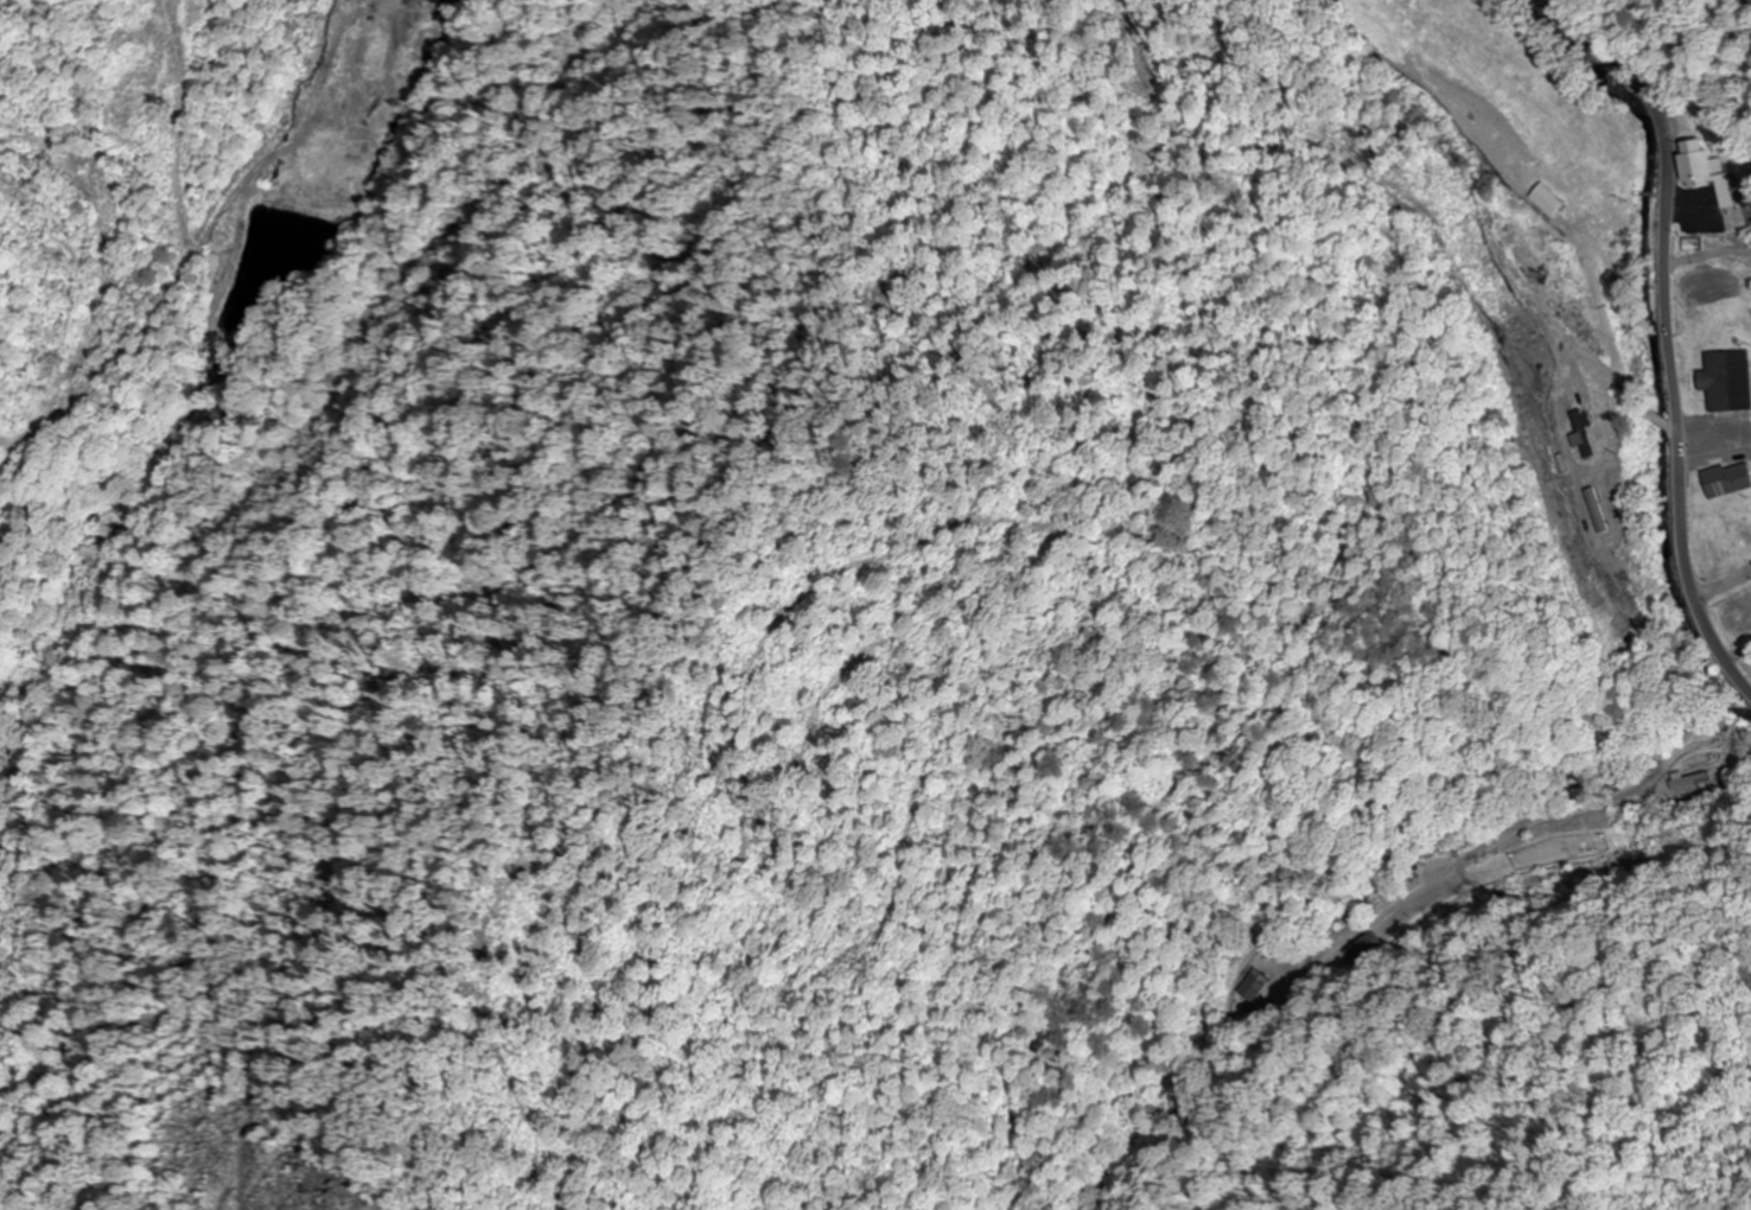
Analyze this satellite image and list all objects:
building: (1694, 161)
building: (1566, 324)
road: (1669, 330)
building: (1728, 381)
building: (1727, 479)
building: (1696, 781)
building: (1368, 944)
building: (1271, 960)
building: (1253, 985)

